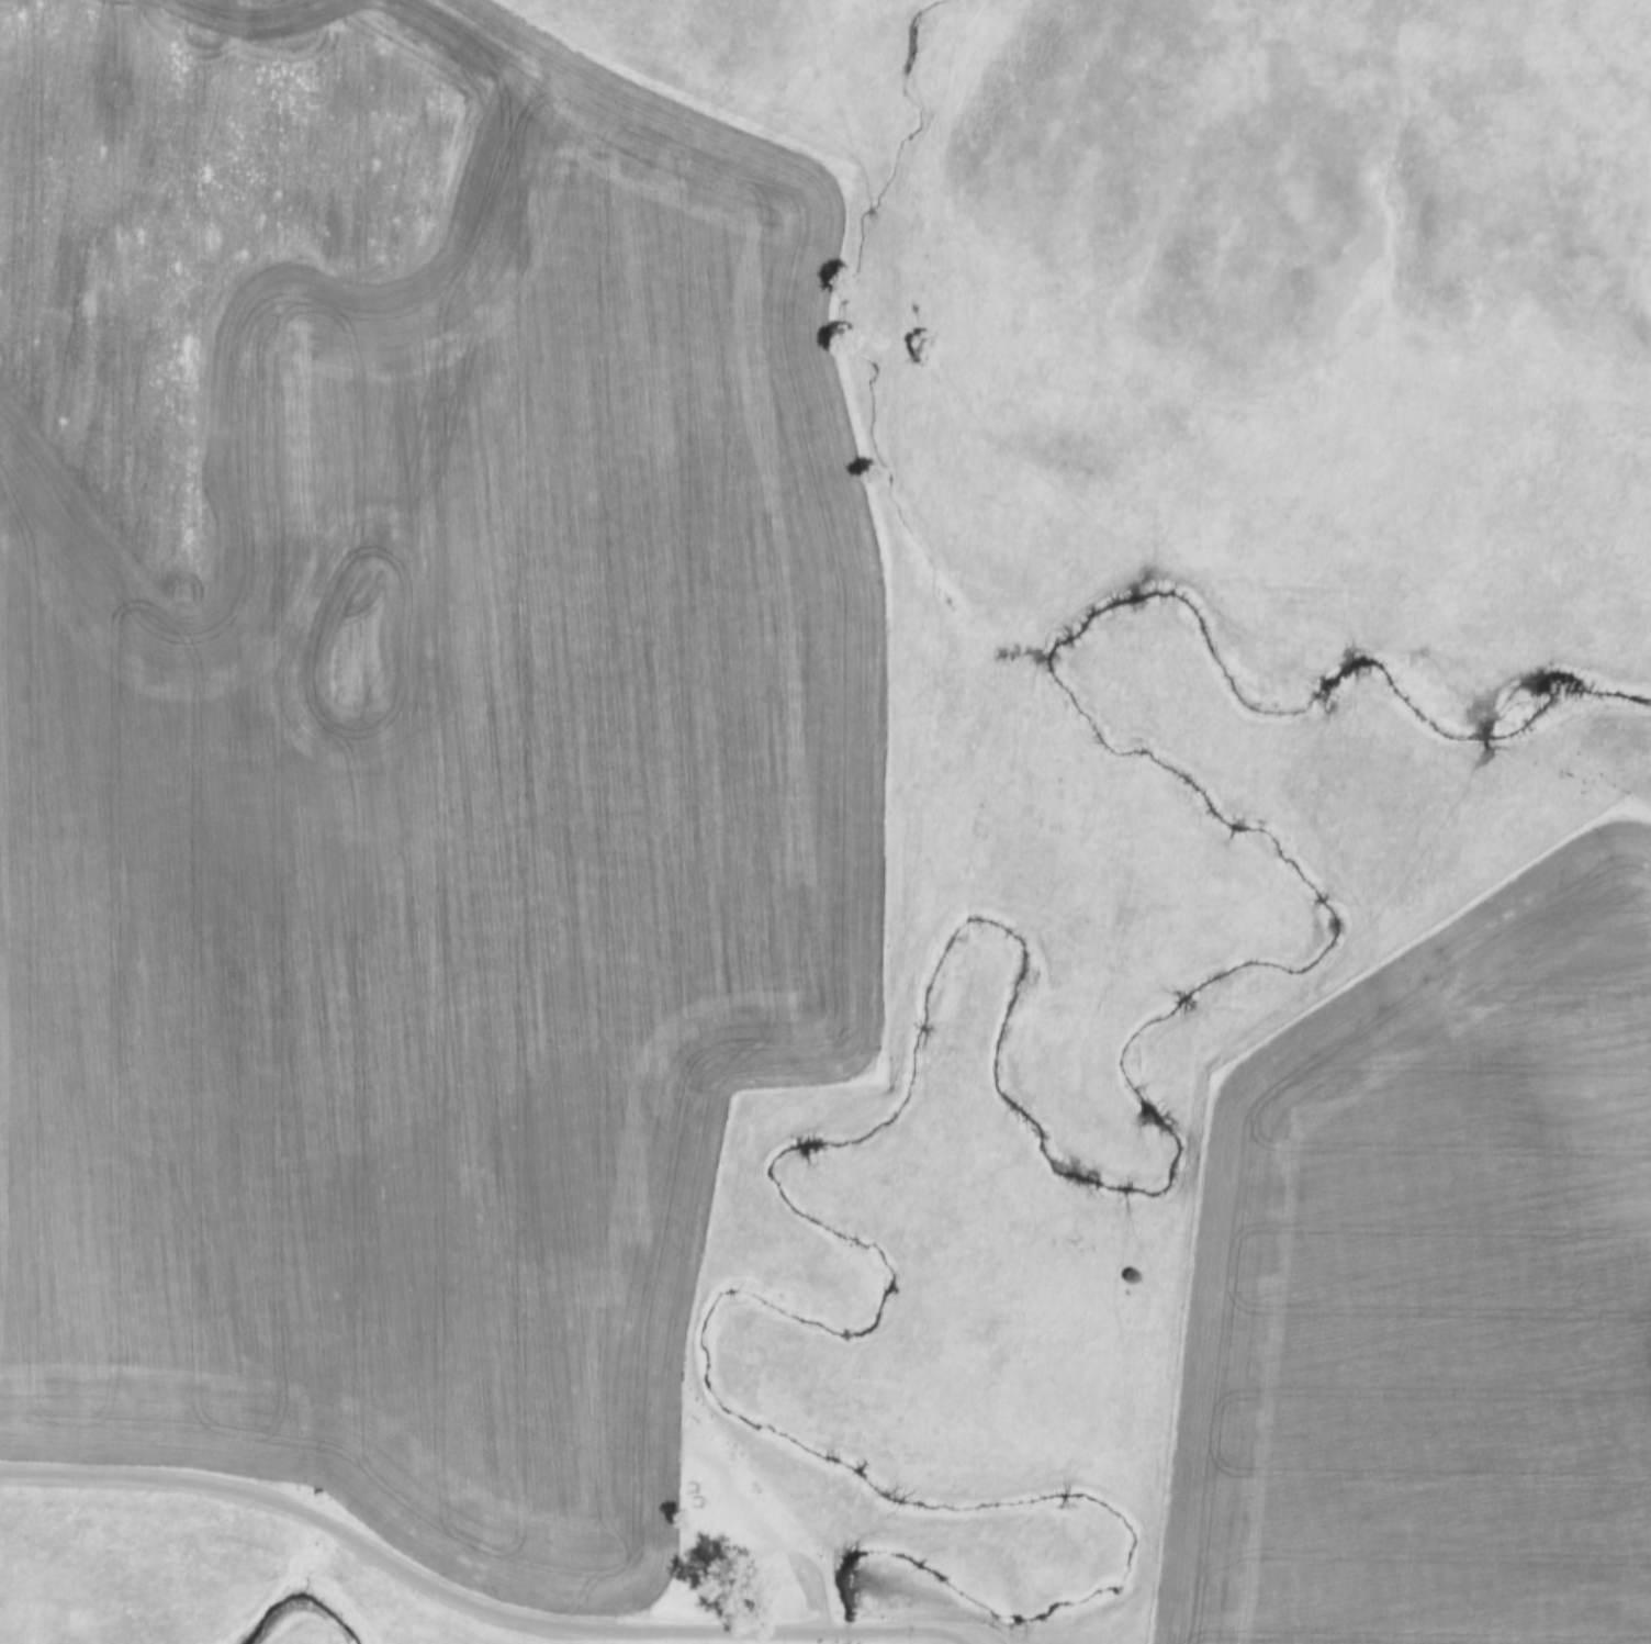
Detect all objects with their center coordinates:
building: (1133, 1277)
road: (472, 1602)

